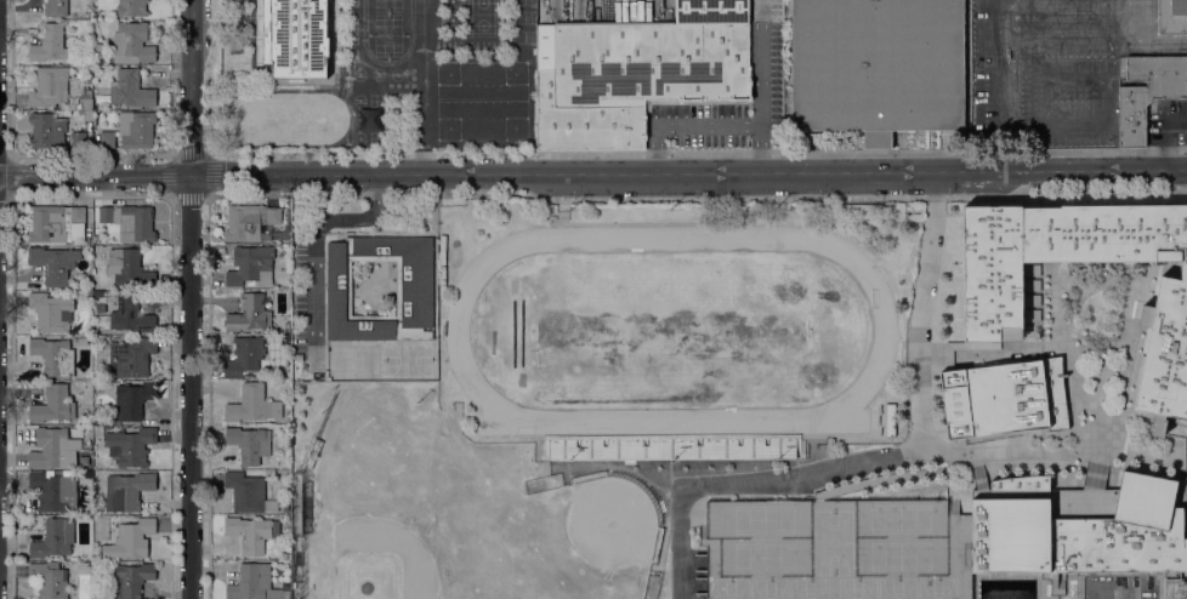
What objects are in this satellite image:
building: (56, 7)
building: (132, 7)
building: (1172, 17)
building: (295, 38)
building: (132, 42)
building: (50, 44)
building: (100, 55)
building: (876, 65)
building: (84, 69)
building: (636, 72)
building: (49, 86)
building: (131, 90)
building: (1147, 92)
building: (86, 103)
road: (705, 124)
building: (136, 129)
building: (47, 130)
road: (1170, 137)
building: (78, 138)
building: (107, 139)
road: (592, 176)
road: (364, 216)
building: (58, 222)
building: (130, 222)
building: (250, 222)
road: (316, 257)
building: (53, 263)
building: (250, 264)
building: (127, 267)
park: (1103, 267)
parking lot: (307, 286)
building: (414, 287)
road: (191, 299)
road: (1132, 301)
building: (148, 306)
building: (100, 308)
park: (1100, 308)
building: (51, 312)
road: (921, 312)
building: (249, 313)
building: (131, 314)
building: (992, 323)
track: (670, 330)
stadium: (677, 332)
park: (1030, 332)
road: (1044, 349)
building: (56, 354)
building: (131, 356)
building: (245, 358)
road: (1097, 392)
building: (131, 400)
building: (53, 405)
building: (251, 405)
building: (249, 444)
building: (131, 445)
building: (672, 446)
road: (813, 446)
road: (1055, 447)
building: (53, 449)
road: (749, 484)
building: (53, 490)
building: (127, 490)
building: (245, 491)
building: (249, 534)
building: (53, 538)
building: (130, 540)
building: (939, 540)
building: (131, 580)
building: (47, 581)
building: (1174, 581)
building: (254, 583)
building: (1174, 592)

